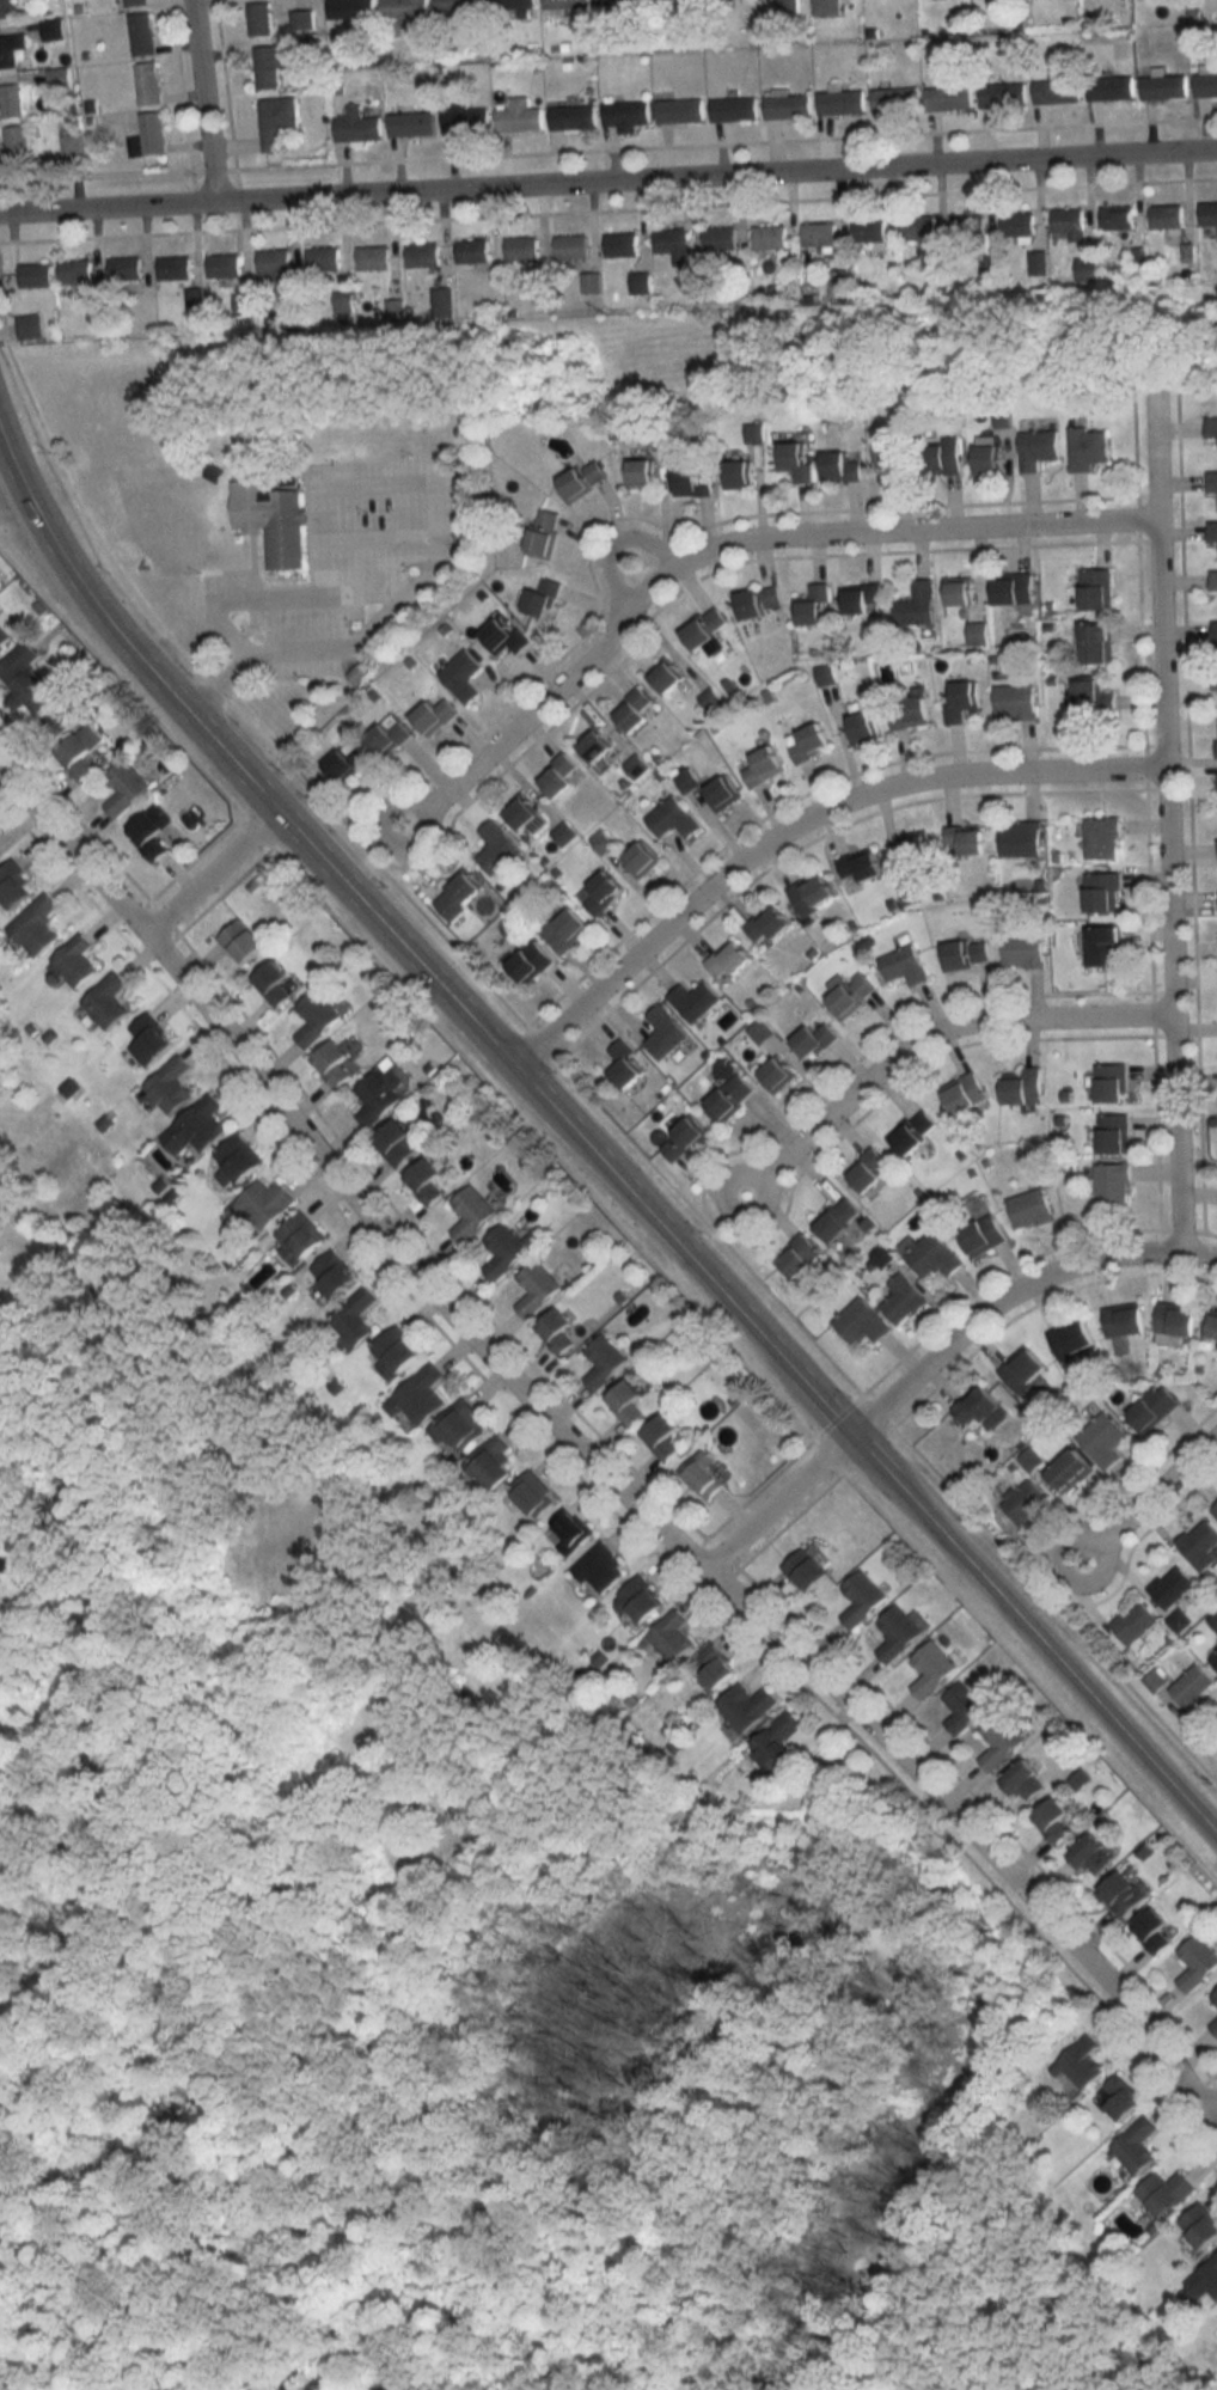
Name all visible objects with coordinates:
building: (674, 0)
building: (135, 4)
building: (565, 4)
building: (513, 5)
building: (618, 7)
building: (826, 7)
building: (6, 8)
building: (458, 8)
building: (349, 10)
building: (406, 11)
building: (259, 19)
building: (301, 20)
building: (54, 30)
building: (141, 35)
building: (11, 49)
building: (270, 66)
building: (1206, 81)
building: (147, 84)
building: (1109, 87)
building: (1163, 87)
building: (1056, 91)
building: (1001, 96)
building: (949, 98)
building: (893, 100)
road: (202, 103)
building: (840, 103)
building: (788, 106)
building: (733, 109)
building: (679, 111)
building: (626, 115)
building: (519, 117)
building: (573, 117)
building: (464, 120)
building: (13, 121)
building: (276, 122)
building: (411, 124)
building: (356, 127)
building: (148, 135)
road: (608, 184)
building: (1207, 213)
building: (1117, 216)
building: (1166, 216)
building: (1069, 220)
building: (1016, 224)
building: (973, 228)
building: (869, 230)
building: (919, 230)
building: (819, 234)
building: (770, 237)
building: (720, 238)
building: (672, 243)
building: (620, 244)
building: (571, 246)
building: (520, 247)
building: (471, 250)
building: (422, 253)
building: (323, 257)
building: (373, 257)
building: (274, 261)
building: (1038, 261)
building: (224, 265)
building: (124, 268)
building: (175, 268)
building: (1087, 268)
building: (74, 270)
building: (35, 275)
building: (591, 281)
building: (838, 281)
building: (343, 300)
building: (441, 300)
building: (30, 326)
building: (1211, 427)
building: (1038, 447)
building: (1087, 447)
building: (892, 454)
building: (942, 457)
building: (986, 457)
building: (795, 459)
building: (840, 465)
building: (641, 472)
building: (287, 473)
building: (738, 473)
building: (692, 481)
building: (1212, 482)
road: (385, 483)
building: (271, 519)
building: (1212, 531)
building: (544, 533)
road: (622, 538)
road: (727, 549)
building: (1213, 580)
road: (1156, 582)
building: (1014, 588)
building: (1097, 588)
building: (959, 591)
building: (543, 595)
building: (861, 597)
road: (320, 598)
building: (759, 600)
building: (916, 603)
building: (813, 605)
building: (705, 626)
building: (977, 632)
building: (504, 636)
building: (4, 638)
building: (1215, 640)
building: (1097, 642)
building: (461, 674)
building: (665, 676)
building: (1215, 679)
building: (26, 680)
road: (129, 687)
building: (1094, 696)
building: (961, 699)
building: (1015, 702)
building: (634, 710)
building: (911, 713)
building: (434, 715)
building: (862, 727)
building: (389, 736)
building: (809, 742)
building: (594, 746)
building: (82, 752)
building: (347, 762)
building: (763, 766)
building: (559, 775)
building: (686, 780)
building: (126, 788)
building: (722, 791)
building: (526, 817)
building: (672, 818)
road: (796, 824)
building: (151, 831)
building: (1020, 838)
building: (1101, 838)
building: (965, 841)
building: (497, 846)
building: (916, 846)
road: (71, 855)
building: (641, 858)
building: (862, 866)
road: (209, 873)
building: (13, 885)
building: (601, 891)
building: (1102, 891)
building: (812, 893)
building: (458, 894)
building: (36, 924)
building: (767, 924)
building: (564, 928)
building: (241, 940)
building: (1105, 946)
building: (1023, 949)
building: (965, 953)
building: (728, 959)
building: (75, 960)
road: (412, 960)
building: (530, 961)
building: (904, 966)
building: (274, 983)
building: (850, 995)
building: (695, 1000)
building: (106, 1001)
road: (1168, 1014)
building: (316, 1017)
building: (665, 1032)
road: (928, 1034)
building: (149, 1039)
building: (814, 1040)
building: (335, 1063)
building: (626, 1063)
road: (561, 1064)
building: (776, 1075)
building: (1111, 1083)
building: (169, 1084)
building: (1023, 1087)
building: (965, 1093)
building: (378, 1094)
building: (729, 1098)
building: (195, 1130)
building: (912, 1132)
building: (1113, 1132)
building: (683, 1139)
building: (396, 1142)
building: (237, 1160)
building: (869, 1169)
building: (426, 1180)
building: (1112, 1182)
building: (261, 1203)
building: (1031, 1209)
building: (471, 1212)
building: (838, 1218)
building: (983, 1234)
building: (298, 1237)
building: (507, 1249)
building: (930, 1254)
building: (799, 1255)
road: (406, 1266)
building: (334, 1272)
building: (537, 1289)
building: (903, 1300)
building: (355, 1318)
building: (1175, 1319)
building: (1124, 1321)
building: (862, 1322)
building: (1211, 1325)
building: (557, 1332)
building: (1071, 1338)
road: (738, 1350)
building: (395, 1353)
road: (934, 1359)
building: (604, 1362)
building: (1023, 1369)
building: (418, 1396)
building: (626, 1401)
building: (981, 1407)
building: (1154, 1407)
building: (458, 1426)
building: (662, 1437)
building: (1102, 1439)
building: (1029, 1459)
building: (490, 1465)
building: (1069, 1471)
building: (702, 1475)
building: (533, 1493)
road: (1149, 1499)
building: (1023, 1500)
building: (1215, 1510)
building: (569, 1533)
building: (1199, 1544)
building: (599, 1567)
building: (806, 1569)
building: (1172, 1585)
building: (861, 1597)
building: (638, 1601)
building: (1135, 1622)
building: (899, 1631)
building: (669, 1636)
road: (1033, 1636)
building: (1213, 1658)
building: (717, 1667)
building: (931, 1668)
building: (1154, 1680)
building: (1192, 1686)
building: (747, 1706)
building: (962, 1707)
building: (778, 1741)
building: (1001, 1741)
building: (1023, 1780)
building: (1054, 1820)
road: (970, 1830)
building: (1091, 1854)
building: (1124, 1894)
road: (305, 1930)
building: (1155, 1930)
building: (1198, 1962)
park: (389, 1988)
building: (1216, 1997)
building: (1215, 2027)
building: (1082, 2062)
building: (1123, 2098)
road: (1211, 2111)
road: (1211, 2125)
building: (1138, 2146)
building: (1166, 2192)
building: (1201, 2226)
building: (1204, 2280)

